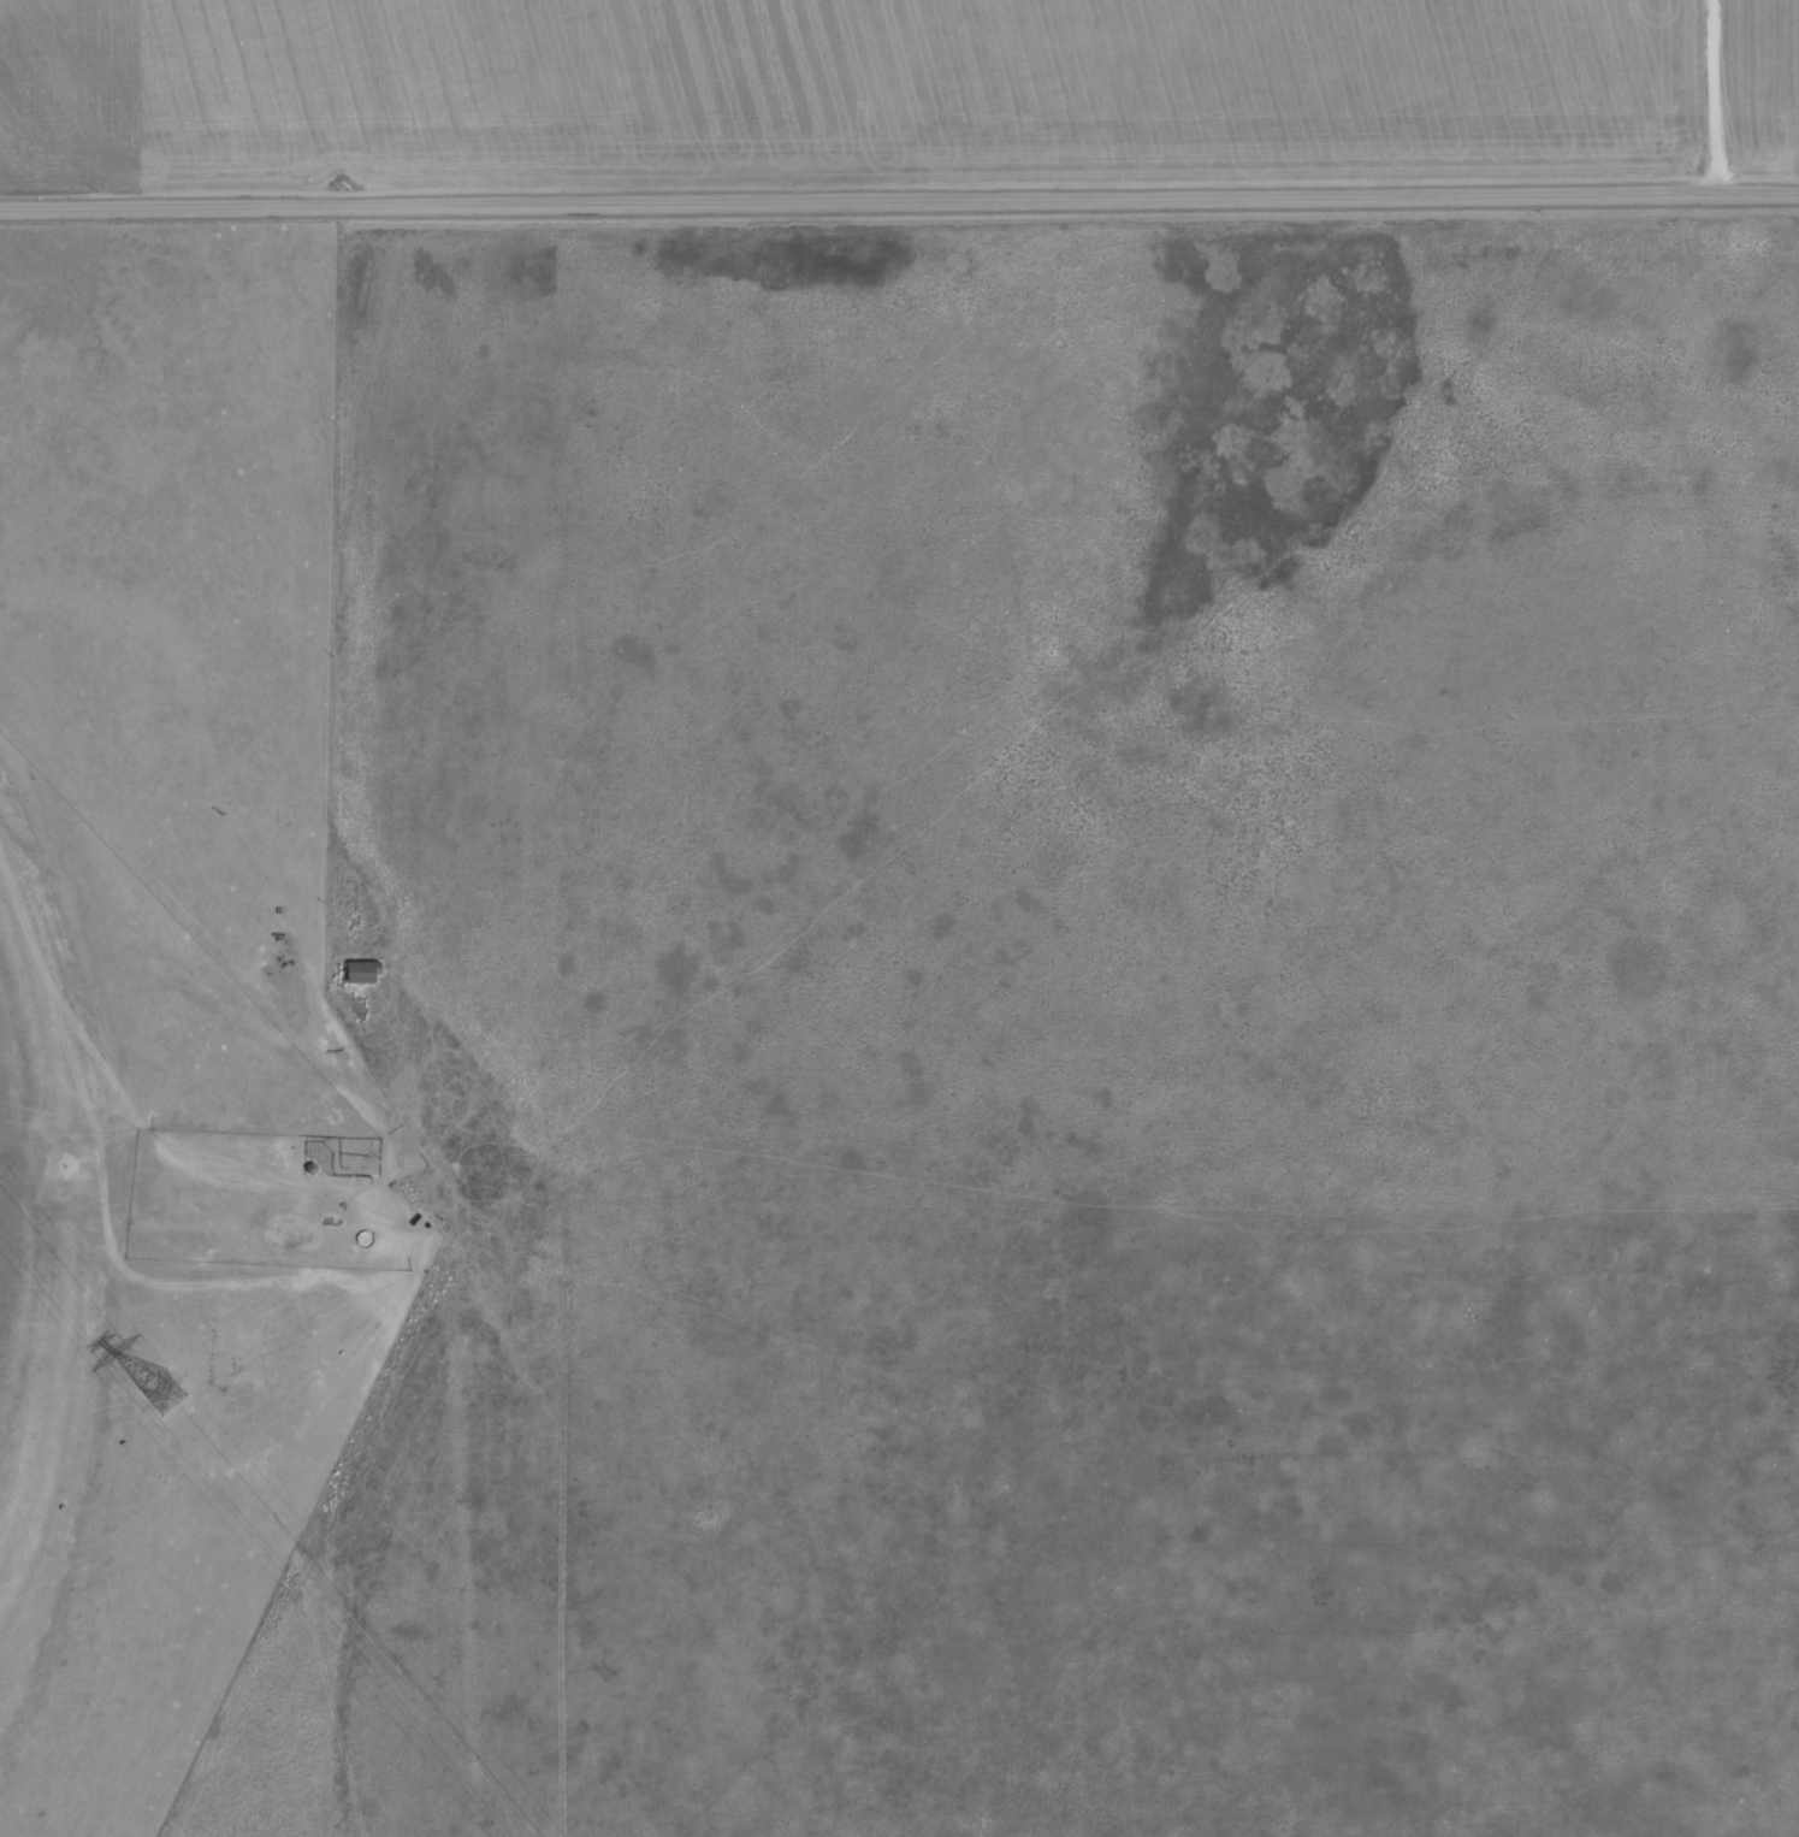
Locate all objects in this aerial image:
road: (1716, 96)
road: (899, 196)
road: (347, 679)
building: (366, 973)
power tower: (164, 1393)

